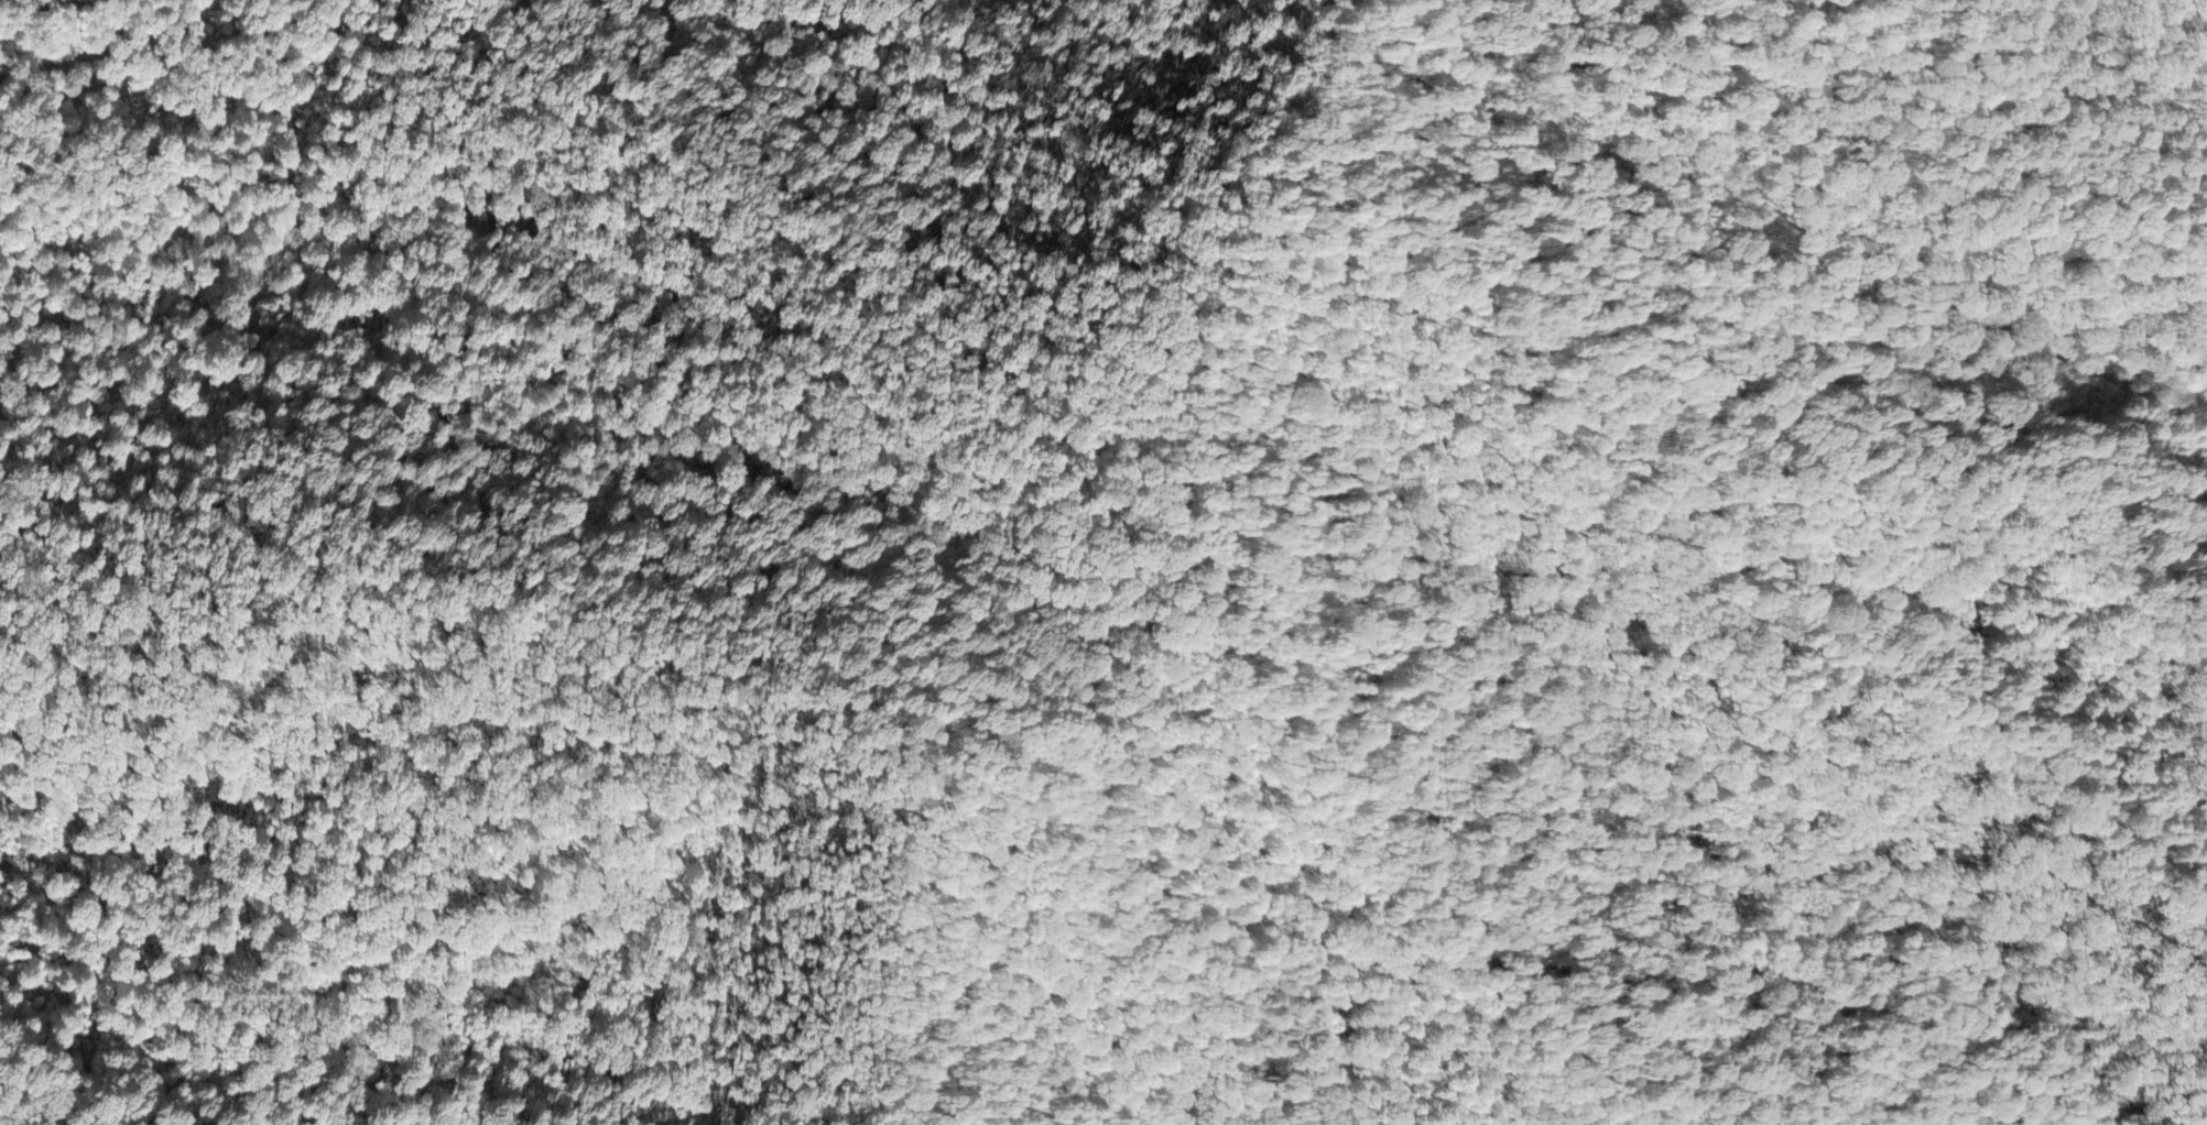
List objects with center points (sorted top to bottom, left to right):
road: (2149, 1101)

